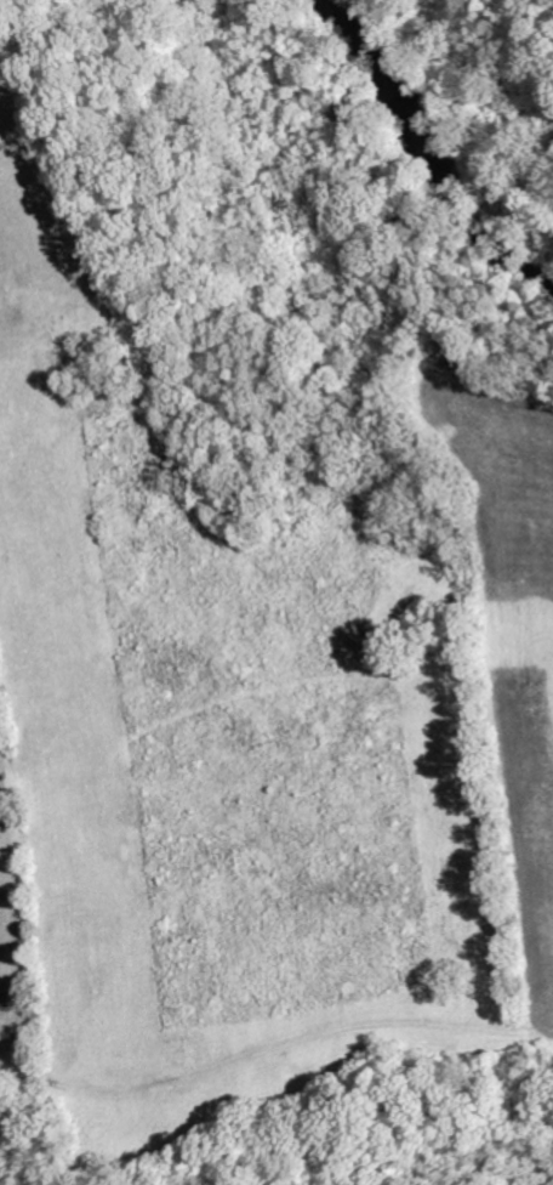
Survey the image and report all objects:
river: (447, 149)

